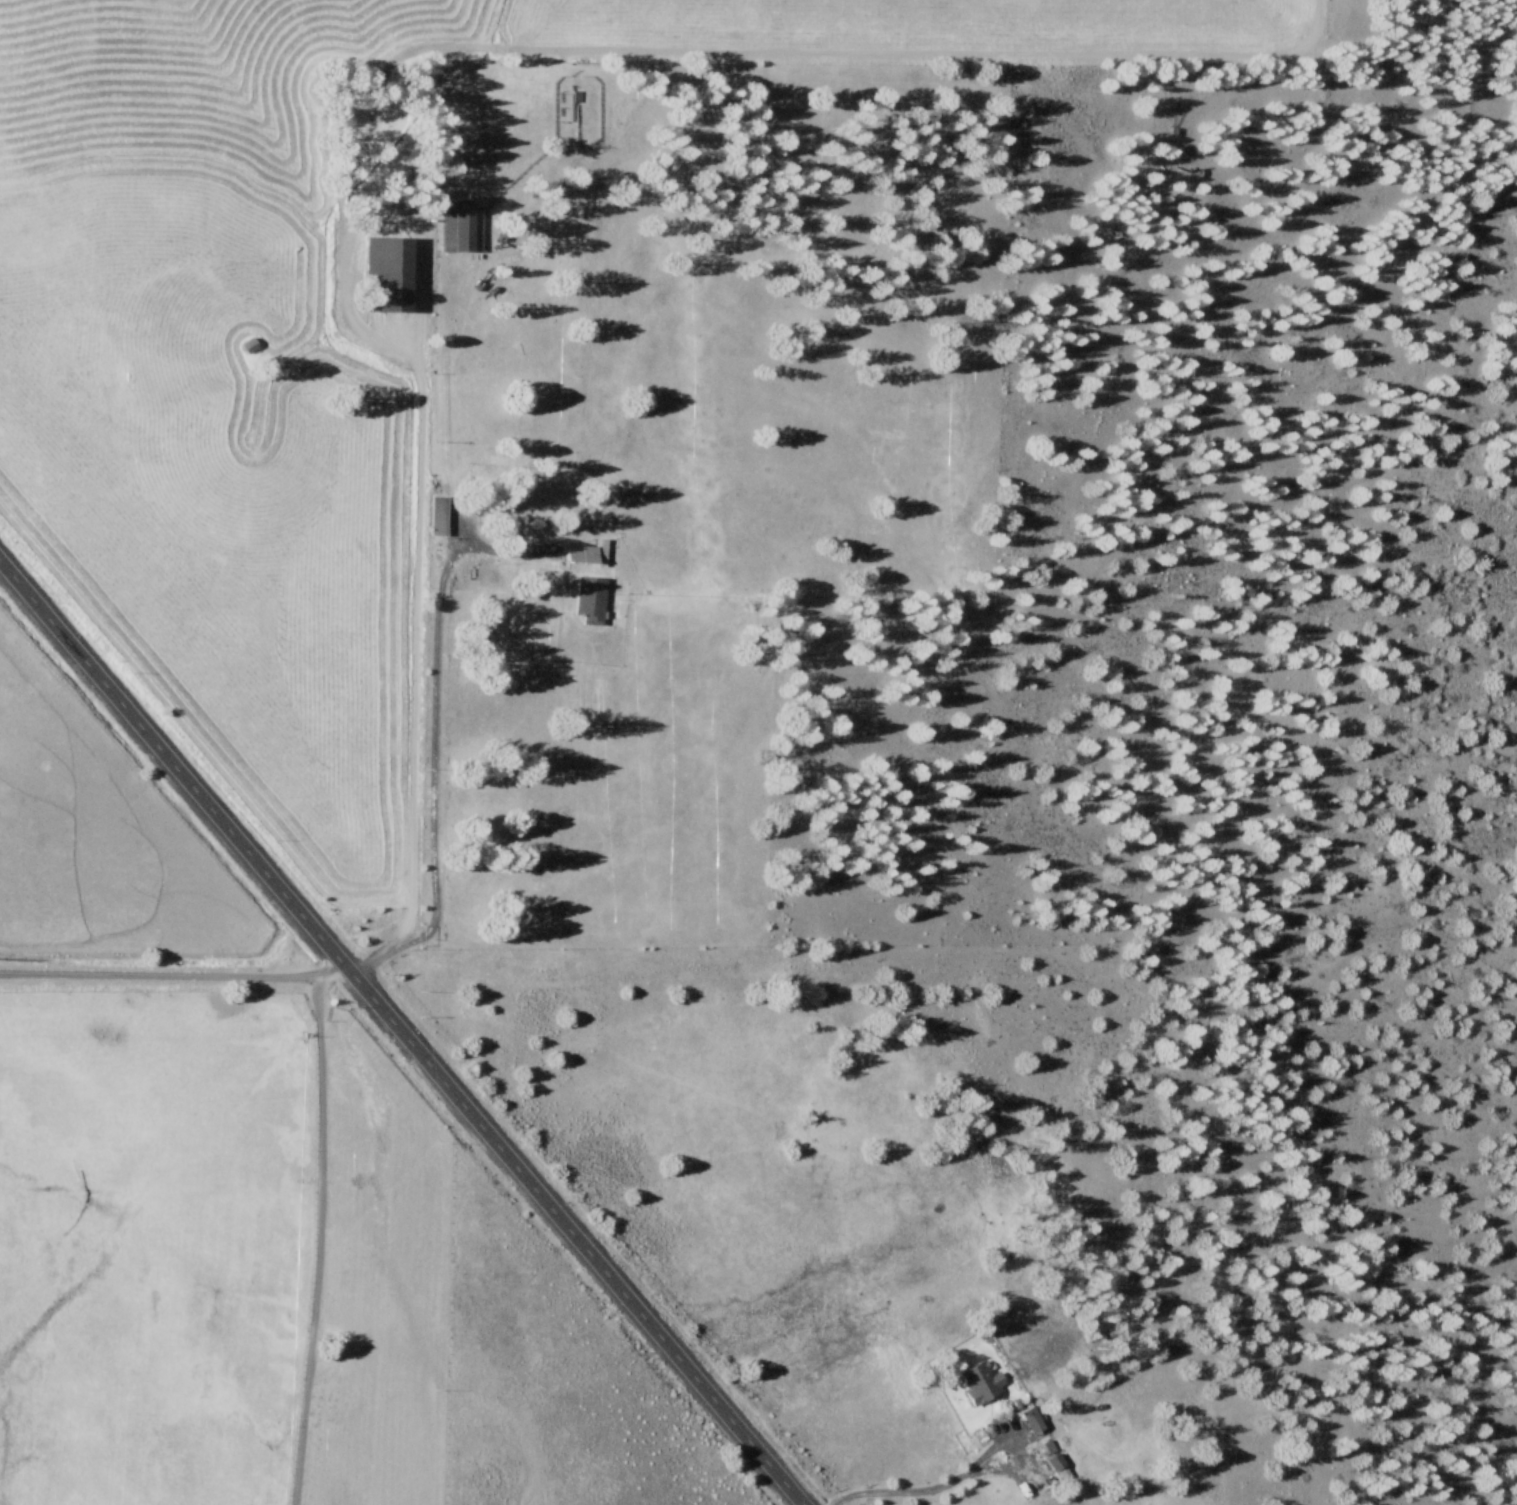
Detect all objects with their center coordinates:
building: (388, 273)
building: (437, 515)
building: (590, 599)
road: (412, 658)
road: (173, 976)
road: (399, 1035)
building: (976, 1380)
building: (1026, 1419)
building: (1048, 1455)

